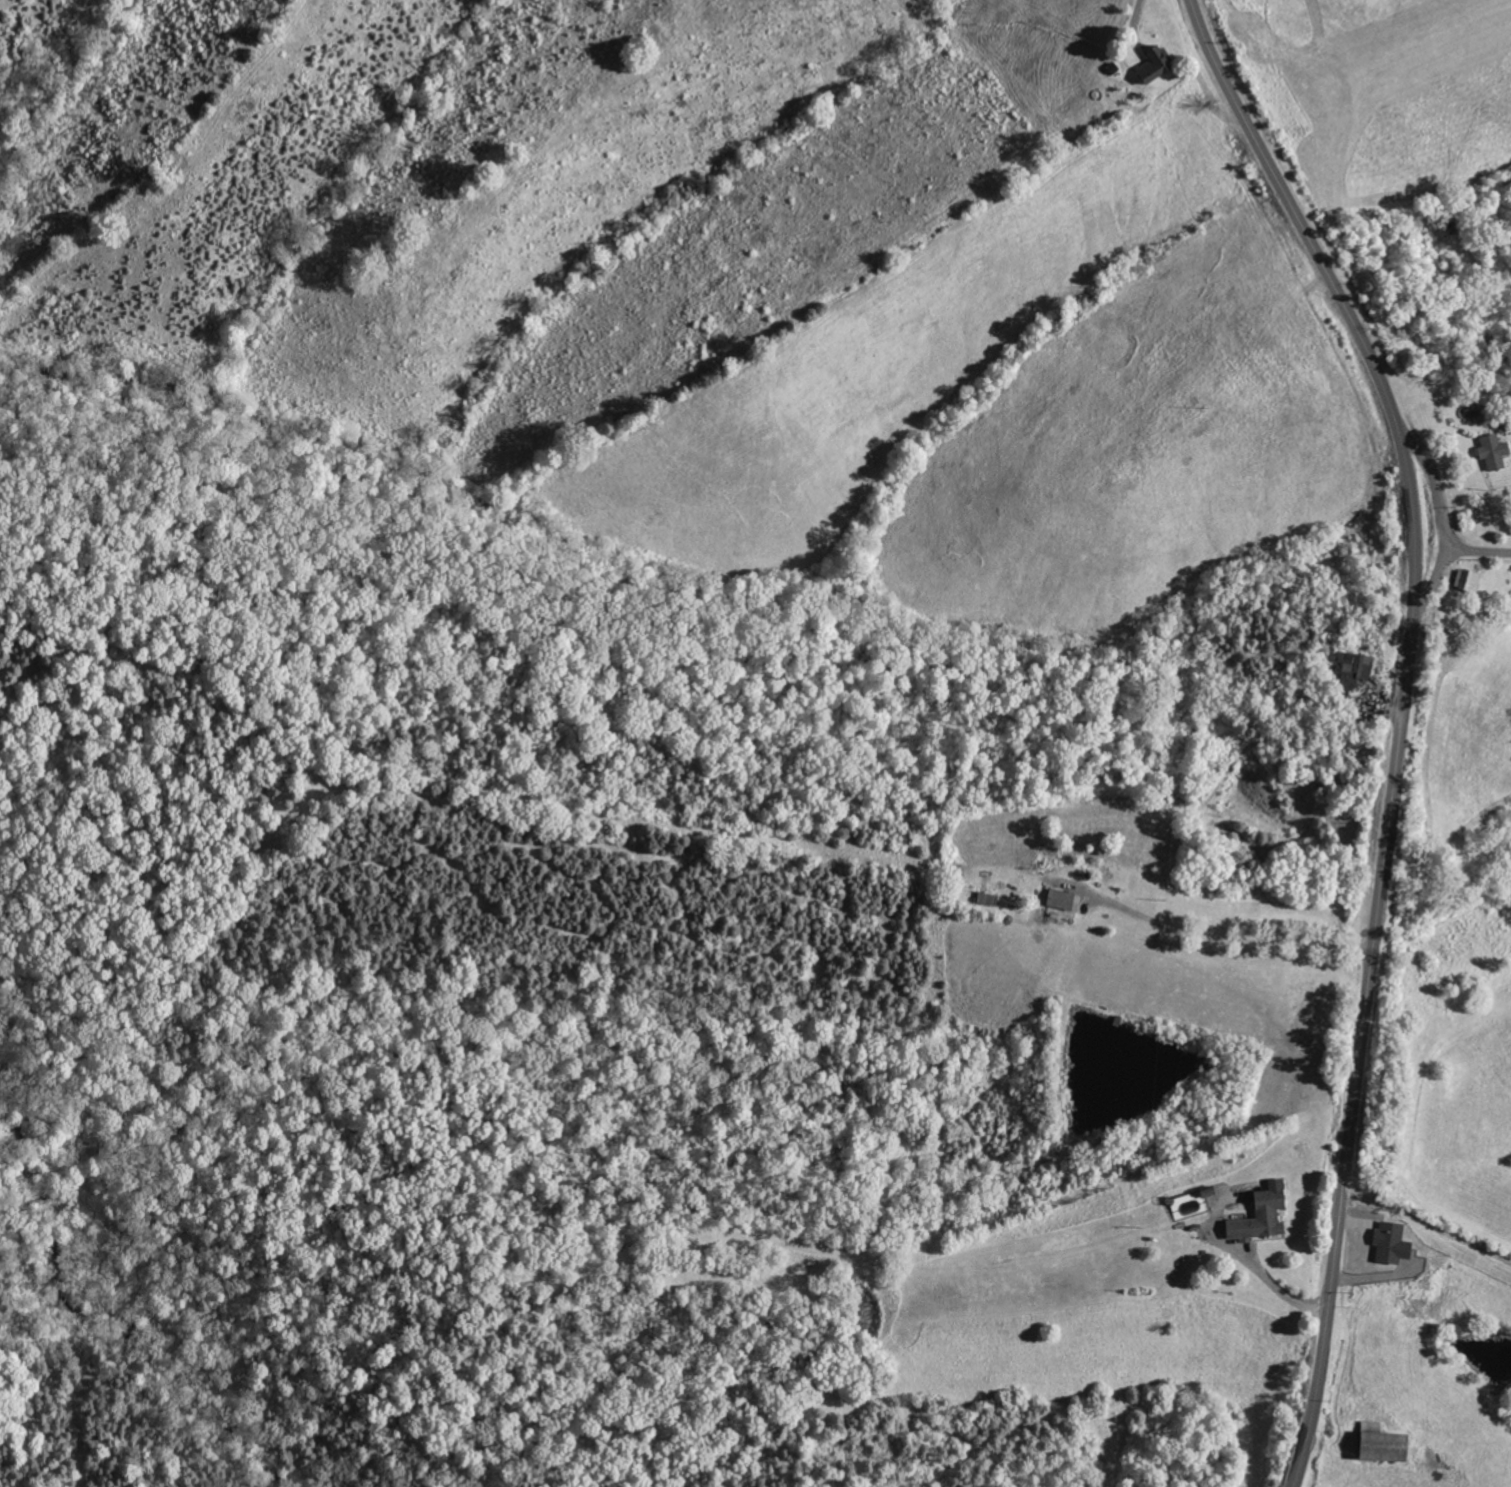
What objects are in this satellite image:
building: (1150, 65)
building: (1491, 452)
road: (1436, 484)
road: (1444, 563)
building: (1464, 581)
building: (1353, 669)
road: (1404, 722)
building: (1060, 899)
road: (1225, 937)
building: (1257, 1215)
building: (1387, 1243)
road: (1426, 1249)
road: (1276, 1285)
building: (1374, 1447)

